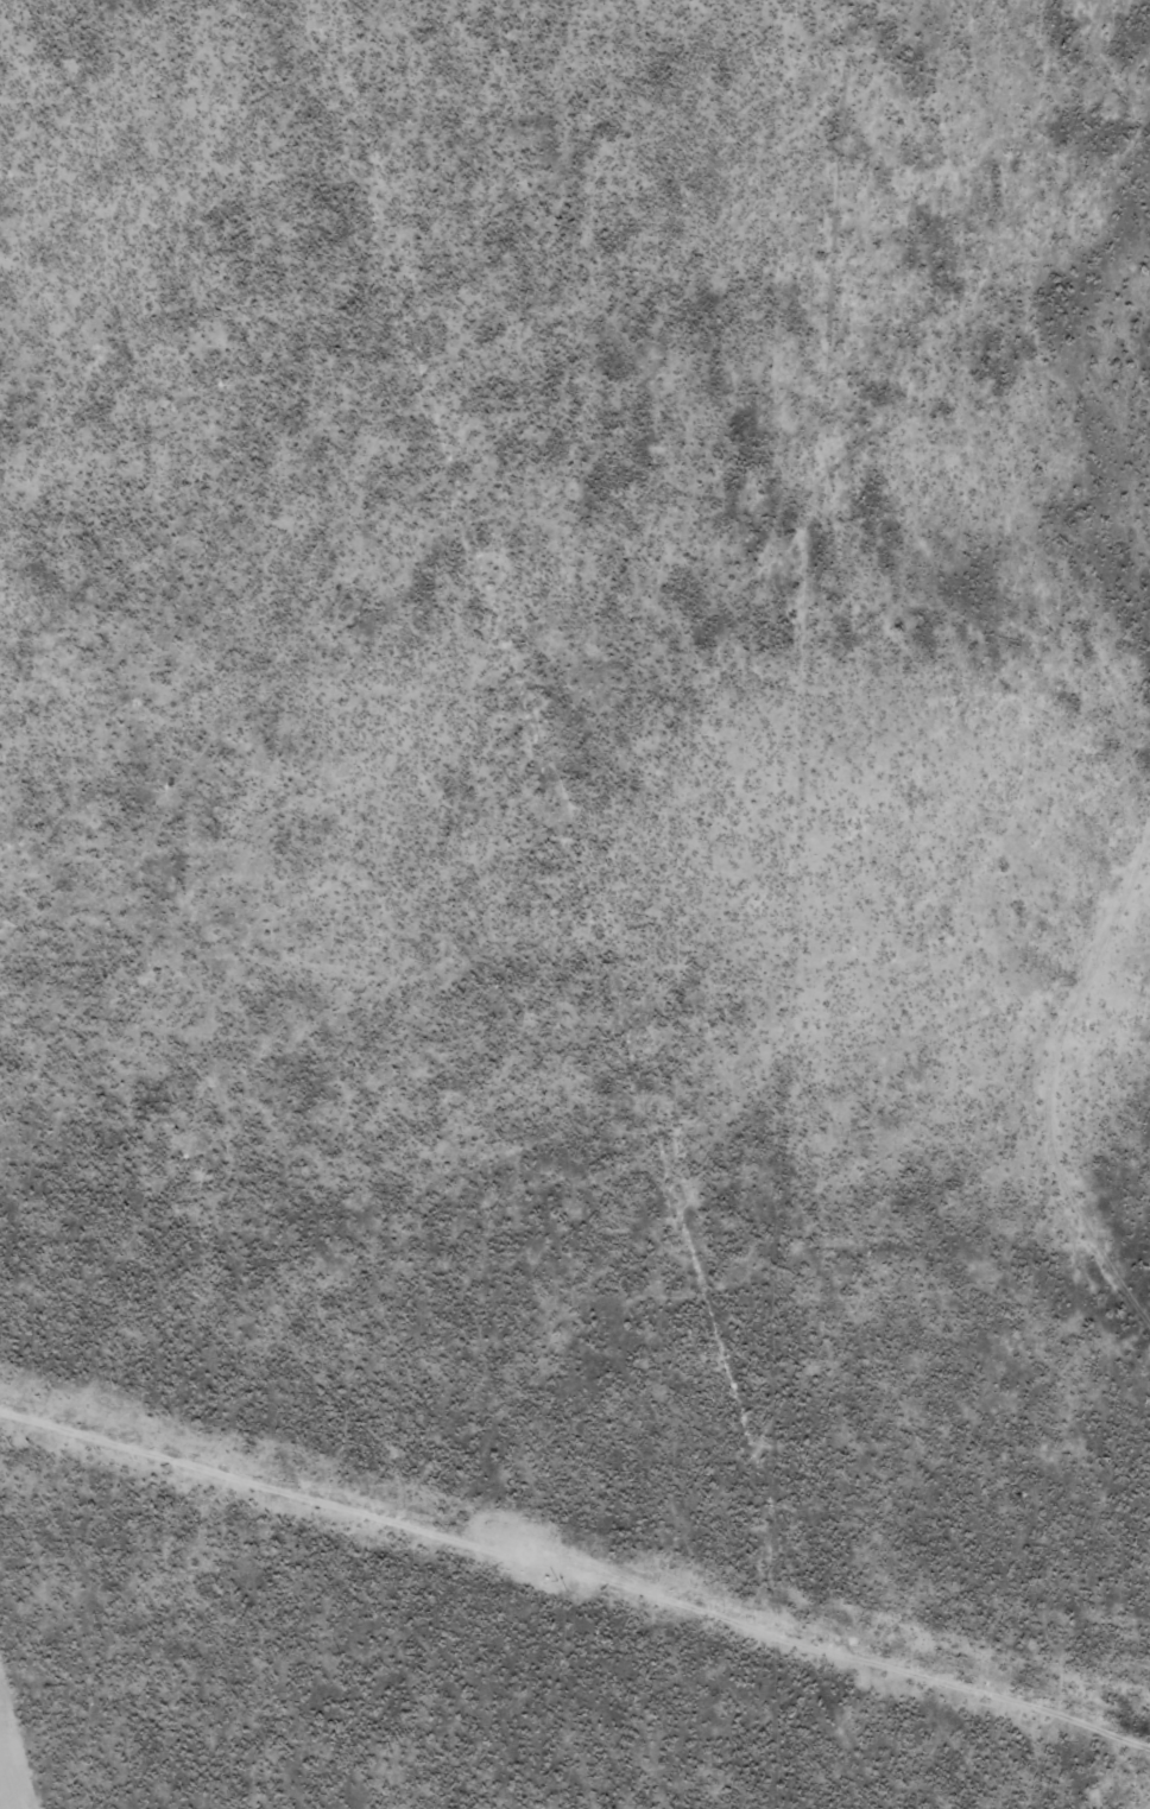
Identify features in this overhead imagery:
road: (1126, 105)
road: (1117, 867)

